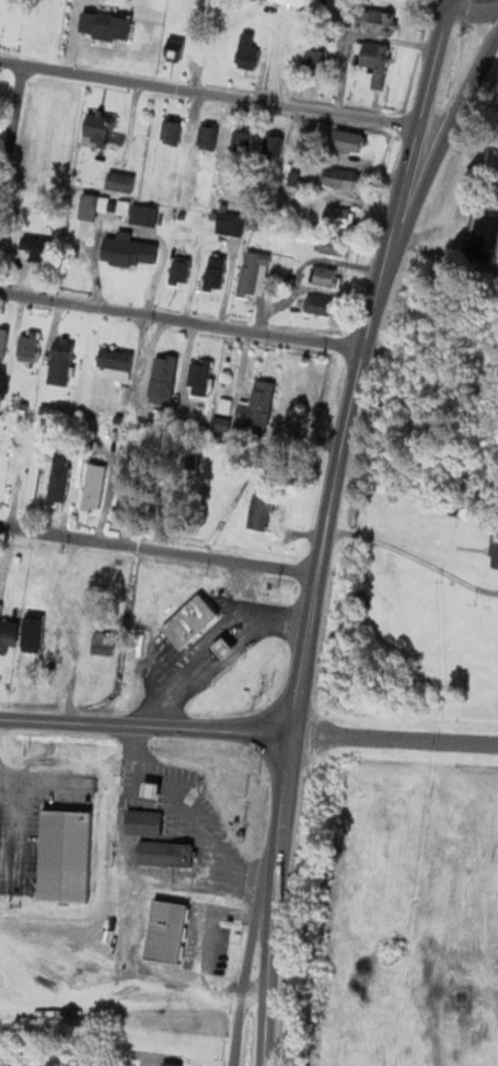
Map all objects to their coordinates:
road: (473, 9)
building: (381, 23)
building: (109, 26)
building: (177, 49)
building: (250, 51)
building: (314, 60)
building: (374, 61)
road: (209, 93)
building: (101, 130)
road: (11, 132)
building: (173, 132)
building: (209, 137)
building: (349, 141)
building: (242, 146)
building: (275, 146)
road: (441, 149)
building: (344, 179)
building: (121, 183)
building: (91, 207)
building: (144, 216)
building: (338, 218)
building: (231, 224)
building: (485, 233)
building: (332, 246)
building: (39, 248)
building: (130, 251)
building: (182, 271)
building: (217, 273)
building: (255, 275)
building: (326, 278)
building: (321, 306)
road: (182, 321)
building: (3, 345)
building: (30, 347)
building: (62, 363)
building: (118, 364)
building: (164, 376)
building: (200, 378)
building: (258, 405)
building: (227, 426)
building: (35, 475)
building: (60, 482)
building: (95, 486)
building: (128, 501)
building: (262, 512)
road: (326, 528)
building: (496, 543)
road: (159, 551)
building: (18, 559)
building: (497, 561)
building: (193, 622)
building: (8, 633)
building: (34, 633)
building: (104, 644)
road: (216, 645)
building: (227, 649)
gas station: (227, 649)
road: (146, 726)
road: (395, 740)
road: (48, 785)
building: (153, 791)
gas station: (153, 791)
road: (197, 814)
building: (144, 822)
parking lot: (28, 832)
road: (14, 839)
building: (165, 855)
building: (66, 856)
road: (207, 918)
building: (169, 934)
parking lot: (215, 951)
road: (250, 952)
building: (170, 1065)

